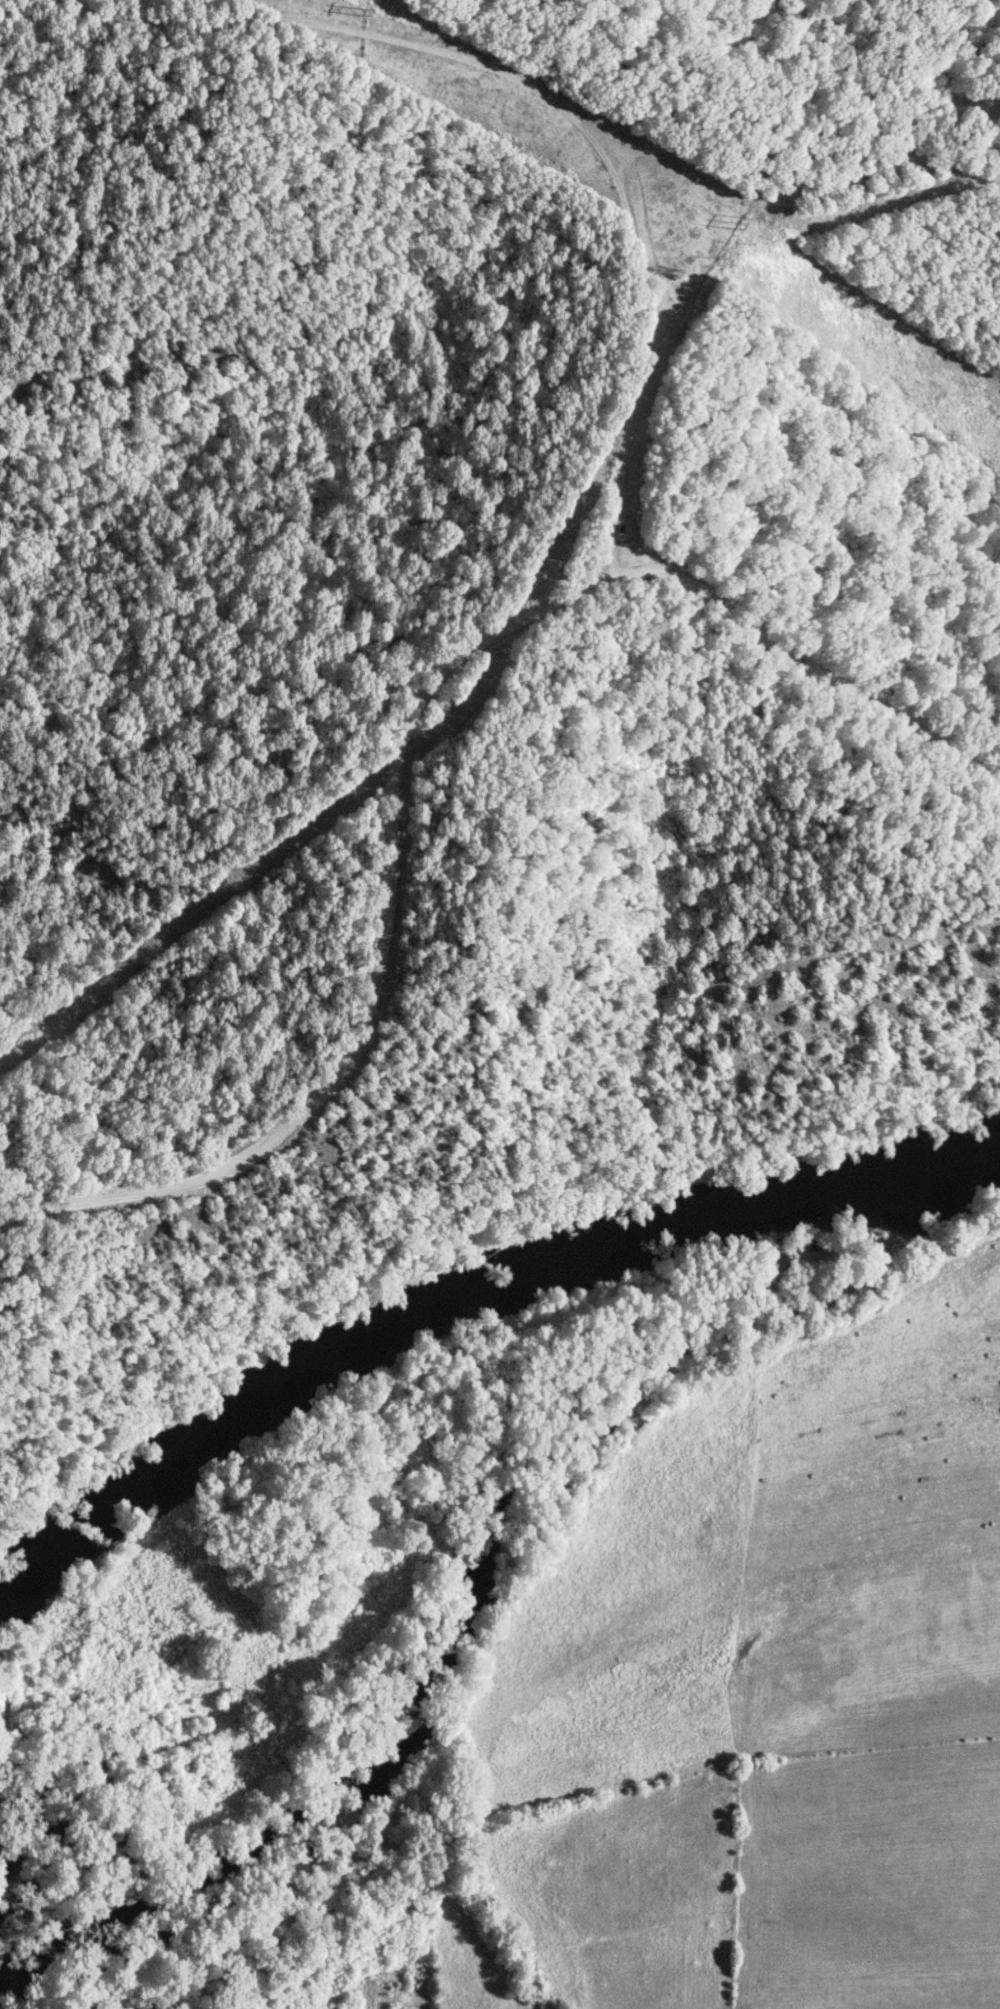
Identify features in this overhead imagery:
road: (380, 65)
road: (819, 195)
road: (623, 391)
road: (401, 748)
river: (472, 1289)

